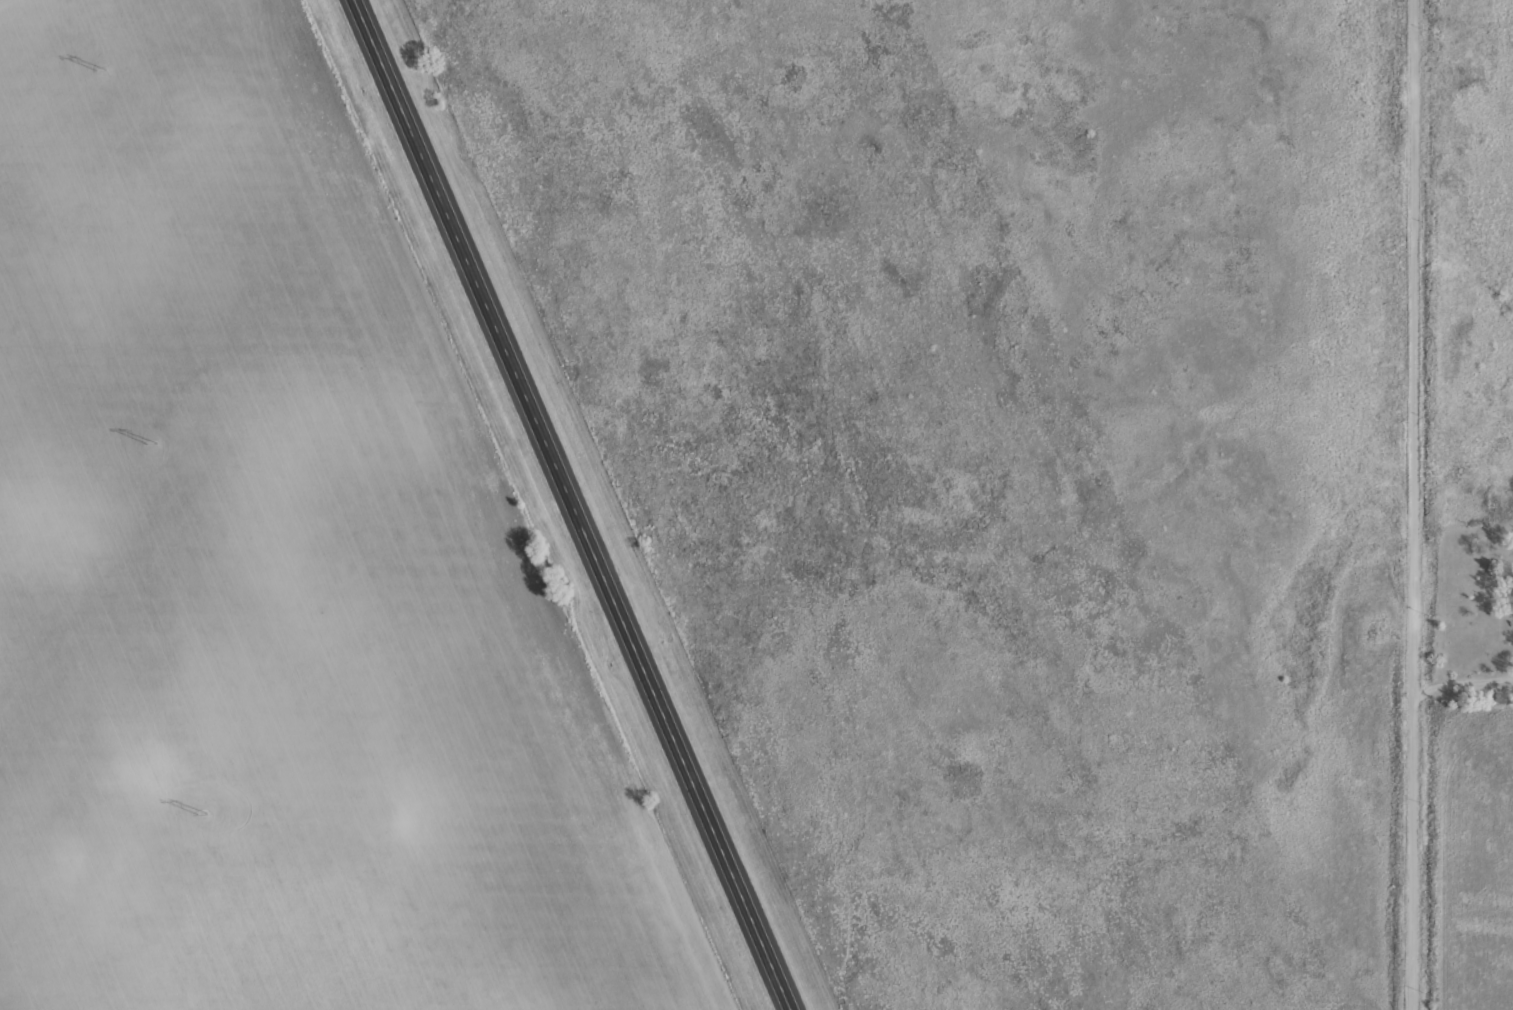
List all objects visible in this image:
power tower: (101, 72)
power tower: (151, 441)
road: (1416, 504)
road: (572, 505)
power tower: (202, 812)

